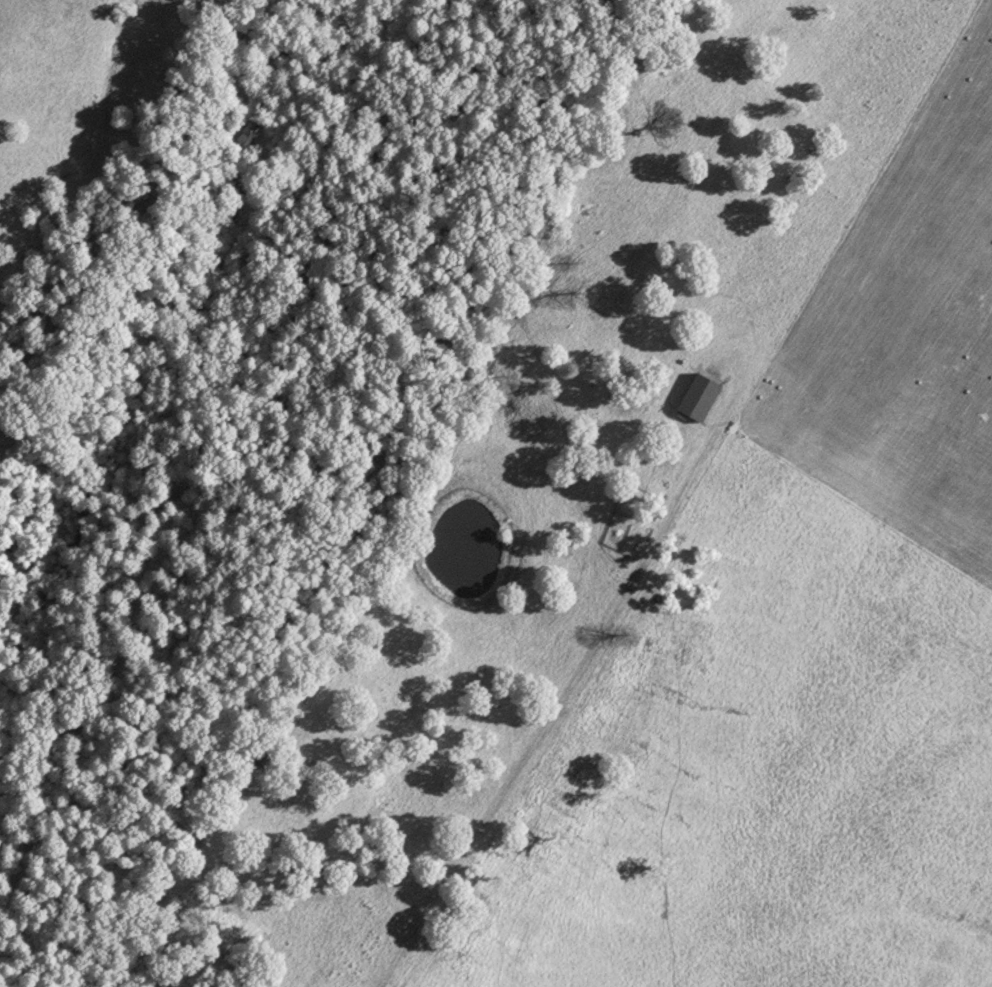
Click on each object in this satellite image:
building: (707, 396)

